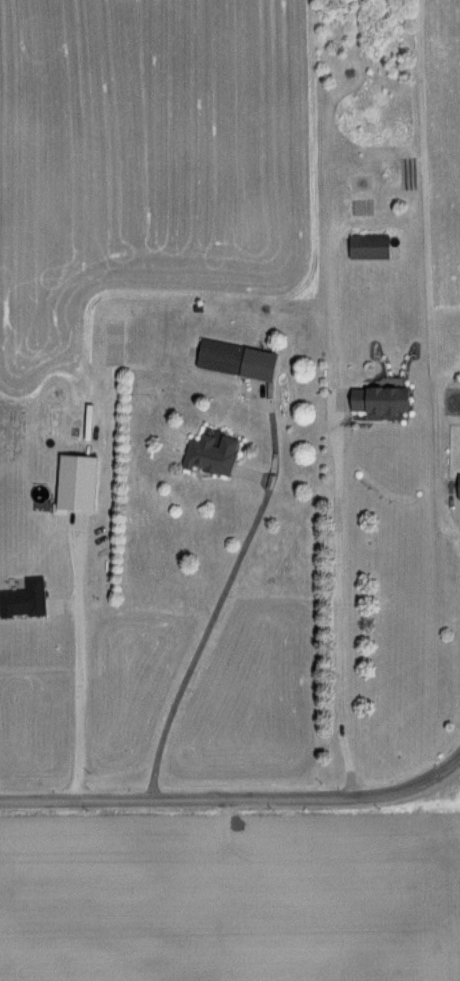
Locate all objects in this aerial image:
building: (231, 359)
building: (374, 401)
building: (207, 453)
building: (456, 485)
road: (216, 602)
road: (336, 612)
road: (90, 666)
road: (235, 799)

